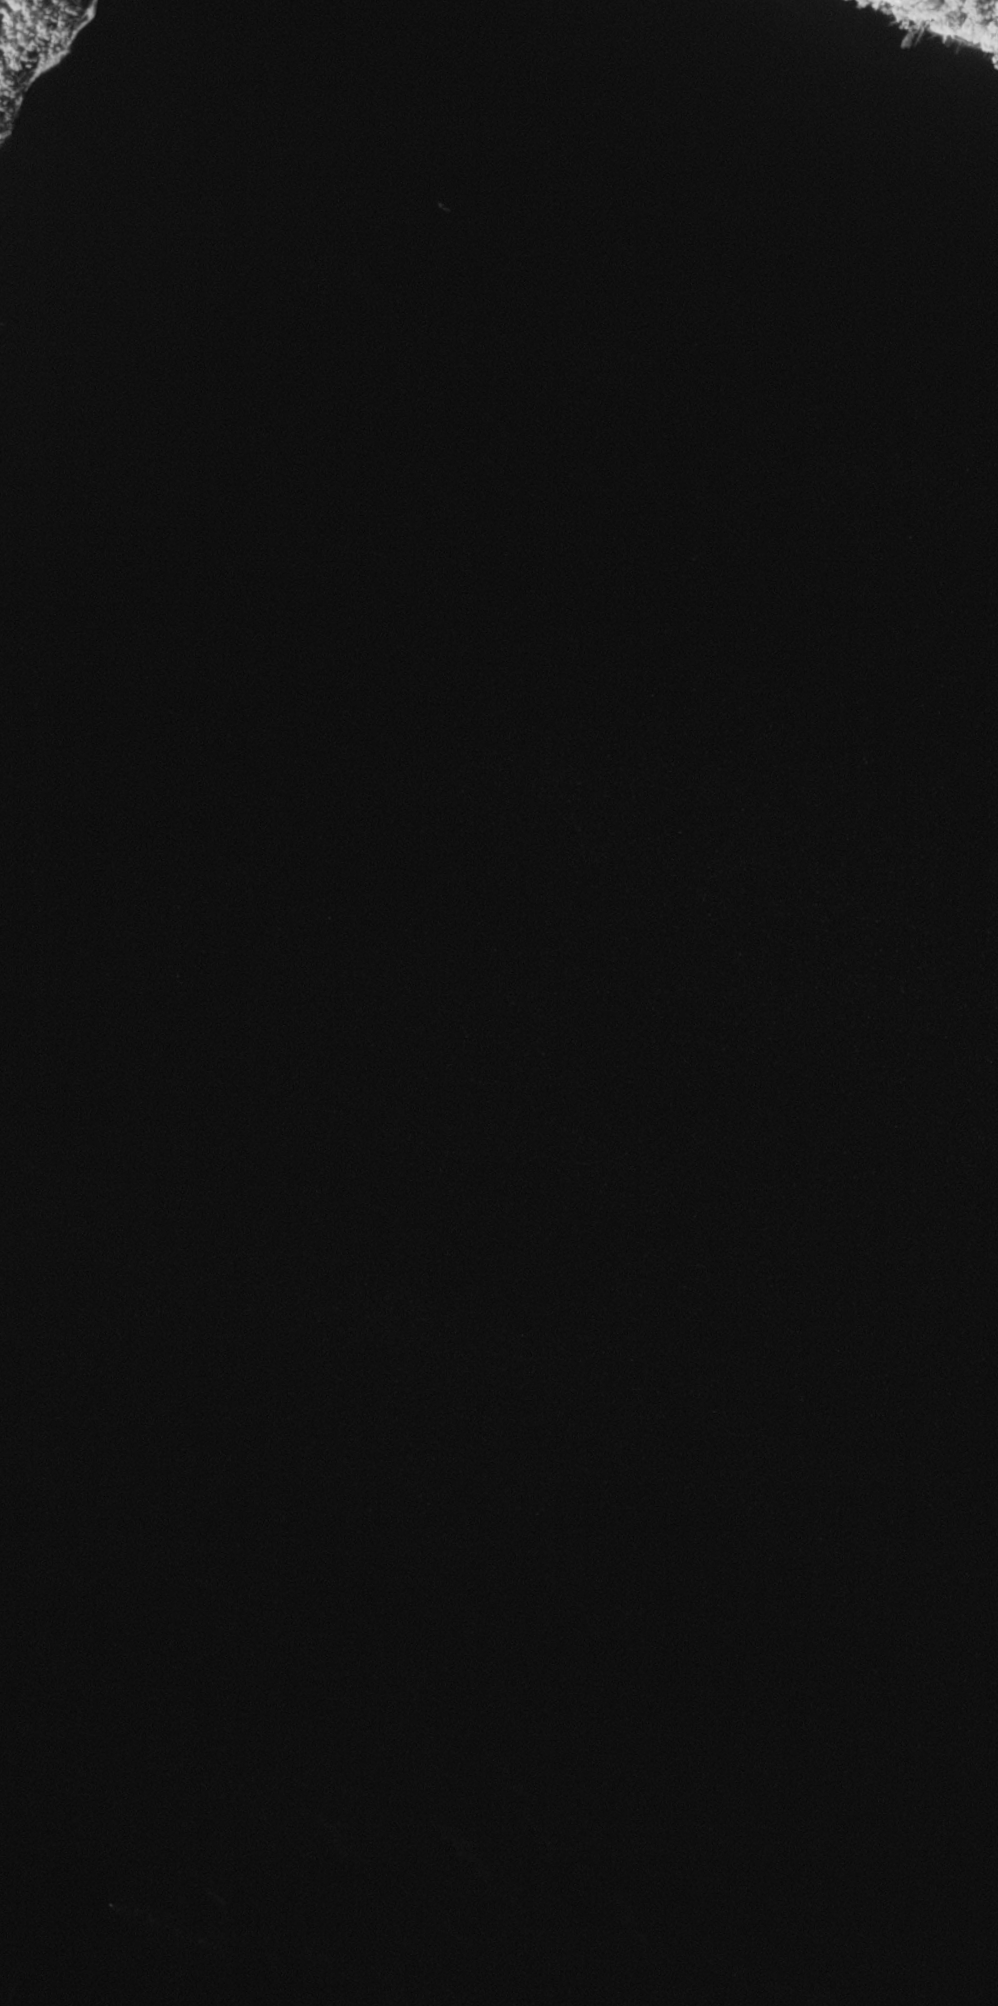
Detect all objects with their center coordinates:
river: (541, 1610)

